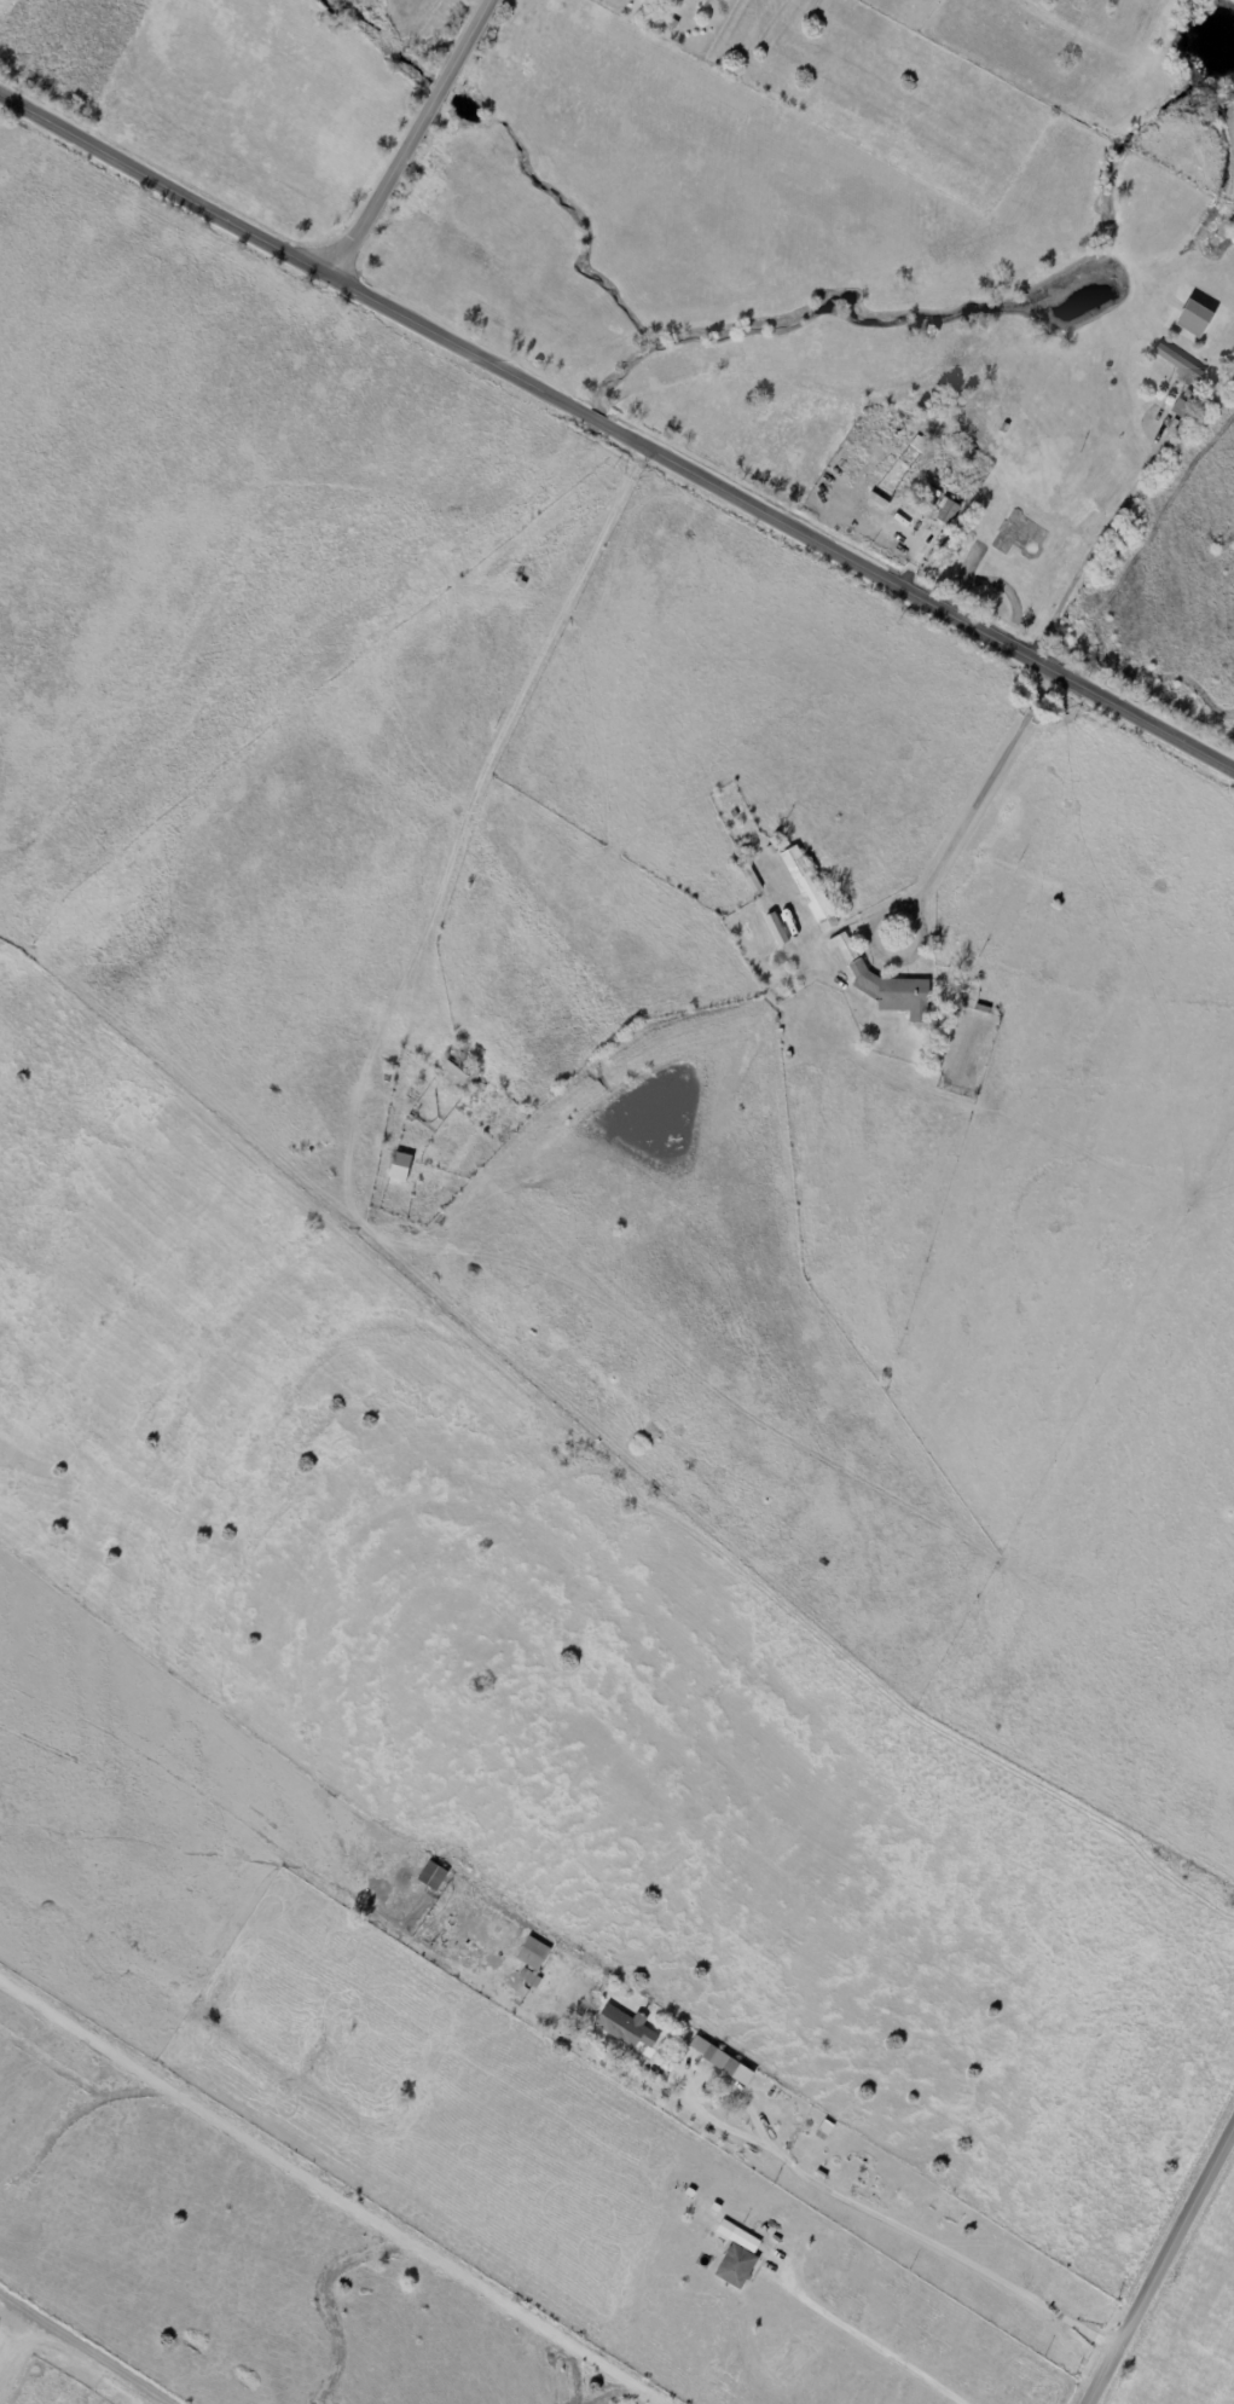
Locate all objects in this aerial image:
building: (649, 0)
building: (673, 25)
road: (407, 135)
building: (1188, 329)
building: (1181, 366)
building: (1182, 409)
road: (619, 425)
building: (1006, 428)
building: (920, 445)
building: (948, 510)
road: (977, 805)
building: (735, 815)
building: (771, 850)
building: (751, 877)
building: (805, 885)
building: (829, 923)
building: (778, 928)
building: (945, 967)
building: (886, 984)
building: (983, 1009)
building: (777, 1019)
building: (781, 1030)
building: (789, 1054)
building: (459, 1072)
building: (401, 1166)
building: (434, 1875)
building: (534, 1952)
building: (531, 1977)
building: (626, 2027)
building: (724, 2060)
building: (810, 2122)
building: (690, 2192)
building: (717, 2207)
road: (892, 2218)
building: (738, 2255)
road: (1155, 2258)
road: (16, 2305)
road: (867, 2342)
road: (71, 2344)

